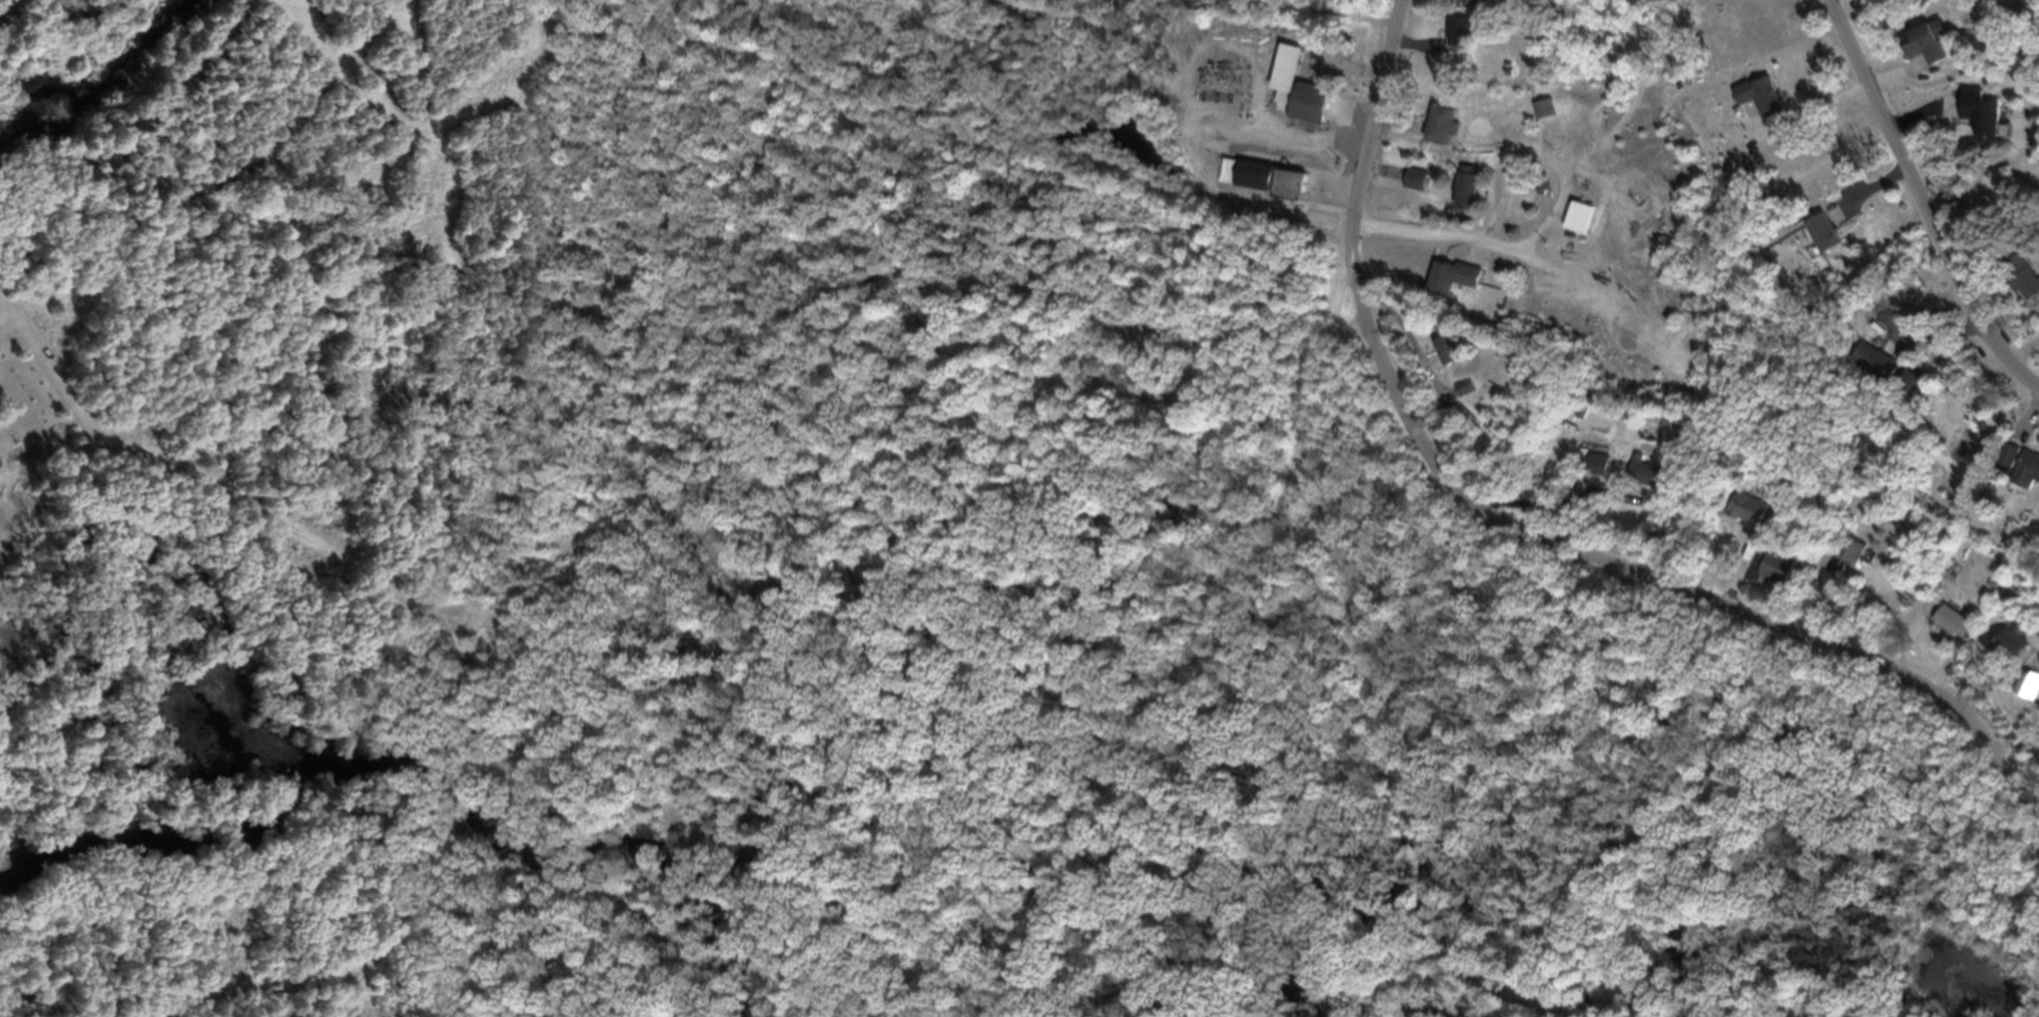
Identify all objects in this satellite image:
building: (1466, 5)
building: (1458, 37)
building: (1921, 50)
building: (1292, 94)
road: (1376, 105)
building: (1538, 114)
building: (1979, 120)
building: (1439, 131)
building: (1259, 184)
building: (1461, 197)
road: (1920, 202)
building: (1572, 224)
road: (1462, 239)
building: (1816, 239)
building: (1448, 283)
building: (2019, 284)
road: (1402, 335)
building: (1867, 369)
building: (1906, 393)
building: (1597, 471)
building: (2017, 472)
building: (1638, 478)
road: (1557, 516)
building: (1743, 516)
building: (1749, 556)
building: (1848, 560)
building: (1775, 575)
road: (1647, 577)
road: (1209, 626)
building: (1951, 629)
road: (465, 646)
building: (2006, 649)
road: (2004, 978)
road: (1888, 979)

